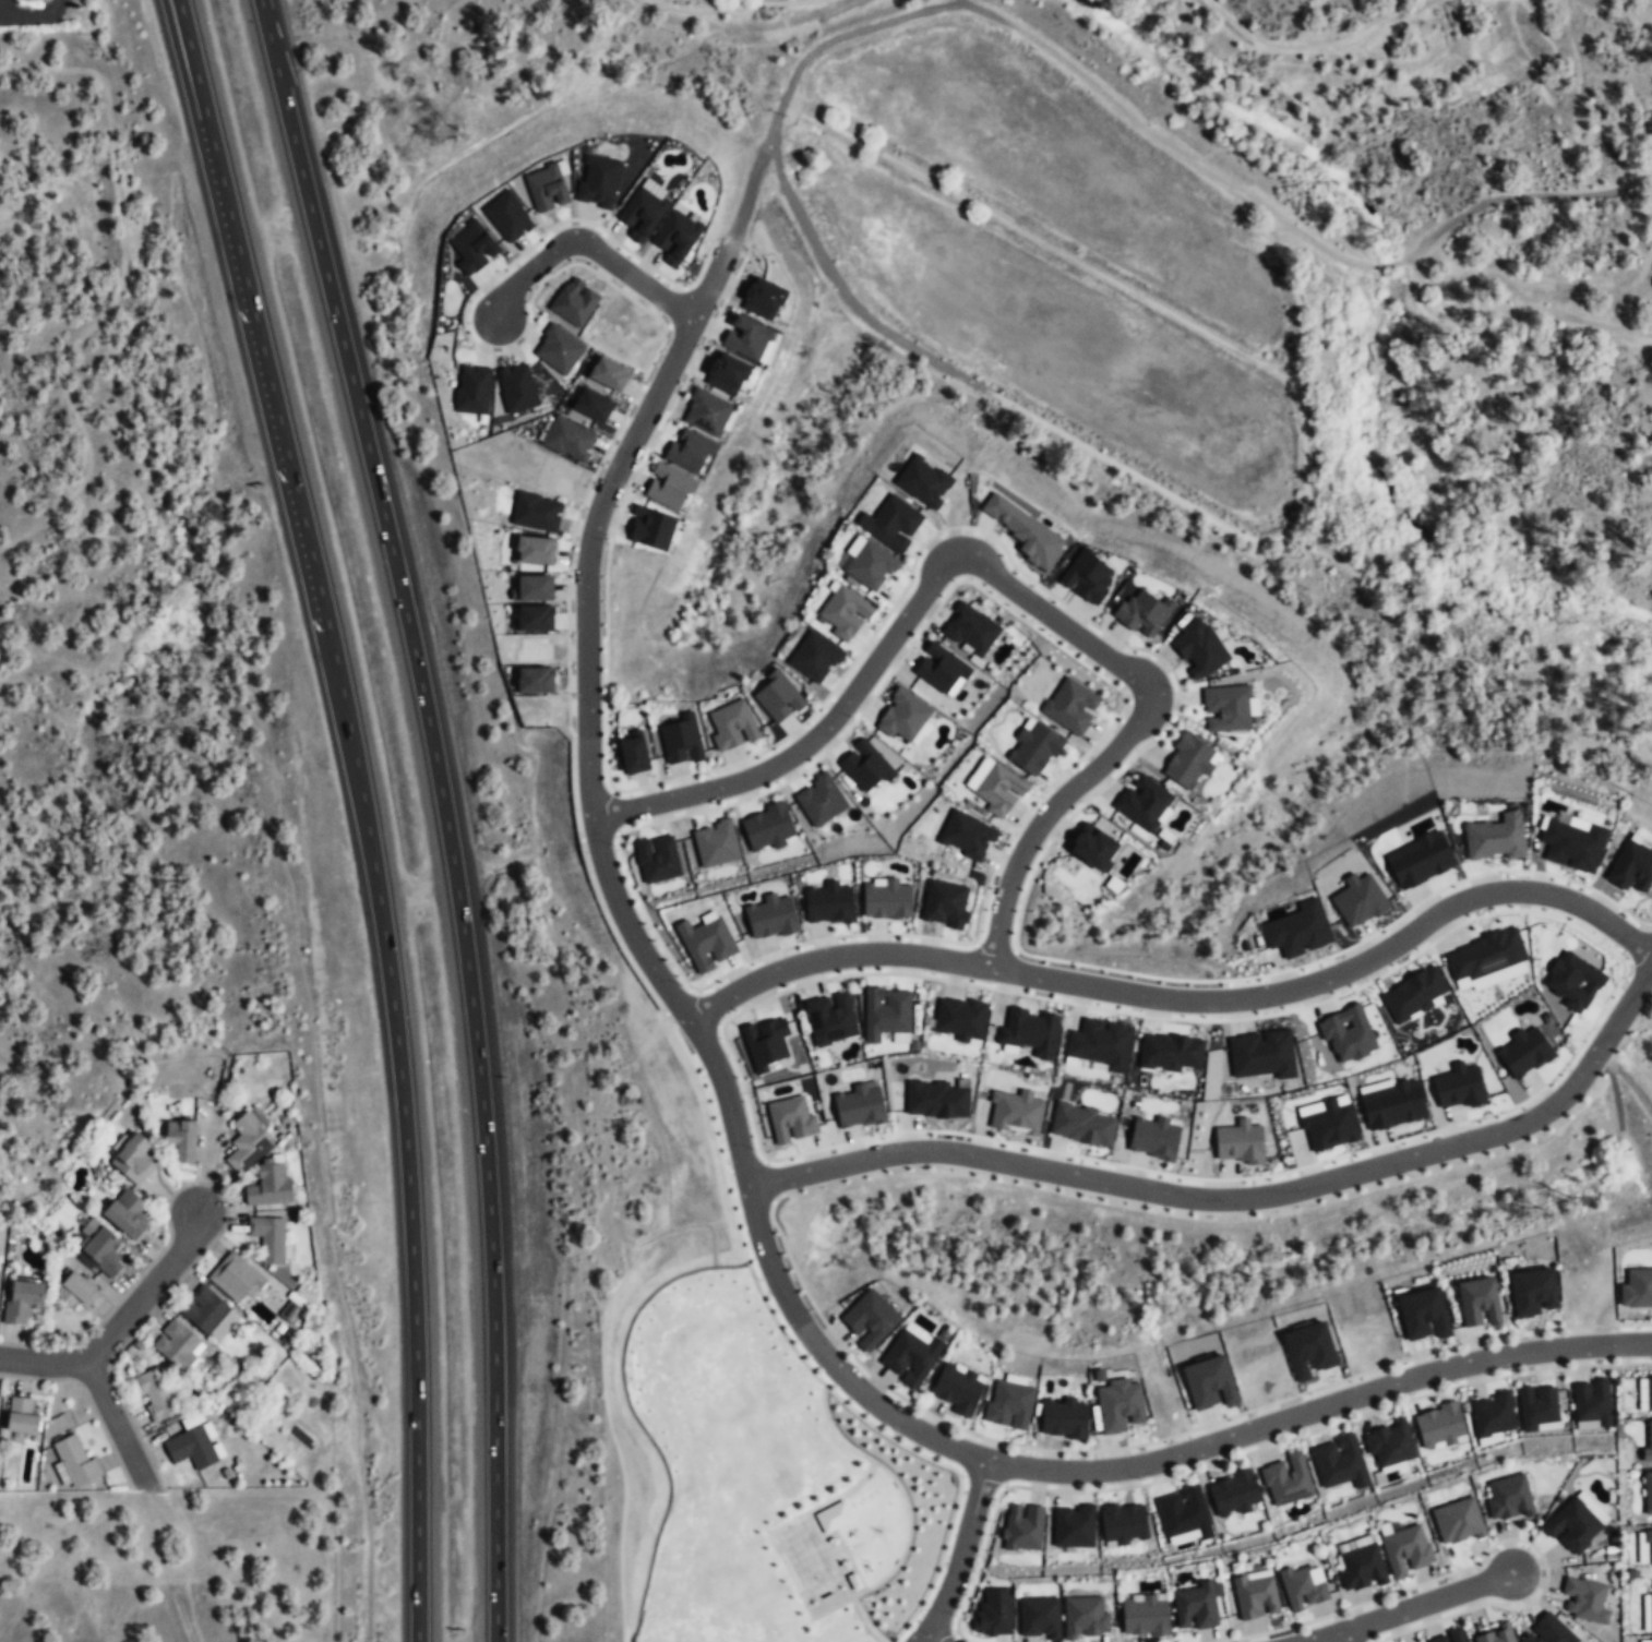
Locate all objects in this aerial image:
road: (1, 8)
road: (34, 13)
road: (1, 15)
road: (1174, 149)
building: (597, 179)
road: (781, 181)
building: (544, 188)
road: (749, 192)
road: (1520, 195)
building: (643, 209)
building: (507, 216)
building: (675, 237)
building: (471, 248)
road: (658, 296)
building: (574, 301)
road: (1510, 312)
building: (746, 338)
building: (558, 350)
building: (606, 373)
building: (726, 374)
building: (516, 388)
building: (472, 389)
building: (590, 405)
building: (706, 412)
building: (567, 439)
building: (689, 451)
building: (922, 482)
building: (669, 487)
building: (536, 512)
building: (891, 523)
road: (1292, 525)
building: (650, 529)
building: (1025, 532)
building: (854, 546)
building: (534, 551)
building: (871, 565)
road: (993, 574)
building: (1085, 575)
building: (531, 589)
building: (842, 613)
building: (1142, 613)
building: (532, 619)
building: (971, 628)
building: (1199, 649)
building: (815, 658)
building: (939, 668)
building: (531, 681)
building: (777, 700)
building: (1070, 706)
building: (1228, 709)
building: (903, 717)
building: (732, 726)
building: (681, 741)
building: (1034, 748)
building: (633, 755)
building: (1188, 762)
building: (865, 766)
building: (995, 787)
building: (819, 802)
building: (1145, 802)
road: (364, 811)
road: (444, 812)
building: (767, 828)
building: (967, 835)
building: (1496, 838)
building: (715, 844)
building: (1572, 844)
building: (1092, 848)
building: (657, 859)
building: (1418, 861)
building: (1632, 866)
building: (886, 900)
building: (1358, 900)
building: (828, 903)
building: (945, 904)
building: (770, 918)
building: (1296, 931)
building: (706, 943)
building: (1488, 959)
building: (1573, 981)
building: (1413, 994)
road: (1182, 1002)
building: (885, 1012)
building: (830, 1019)
building: (960, 1019)
building: (1029, 1032)
building: (1346, 1033)
building: (764, 1043)
building: (1100, 1043)
building: (1170, 1052)
building: (1524, 1052)
building: (1261, 1054)
building: (1458, 1086)
building: (935, 1099)
building: (1391, 1103)
building: (858, 1106)
building: (1015, 1112)
building: (790, 1119)
building: (1328, 1123)
building: (1081, 1124)
building: (1153, 1137)
building: (182, 1138)
building: (248, 1140)
building: (1240, 1141)
building: (135, 1158)
building: (268, 1184)
road: (1240, 1199)
building: (127, 1212)
road: (754, 1214)
building: (267, 1237)
building: (105, 1249)
building: (235, 1277)
building: (76, 1290)
building: (1637, 1290)
building: (1533, 1294)
building: (22, 1301)
building: (1476, 1304)
building: (203, 1308)
building: (290, 1311)
building: (1422, 1316)
road: (123, 1319)
building: (870, 1320)
building: (176, 1343)
building: (1308, 1350)
building: (910, 1357)
building: (1209, 1382)
building: (958, 1390)
building: (1644, 1393)
building: (155, 1394)
building: (1590, 1402)
building: (1008, 1406)
building: (1537, 1406)
building: (1118, 1407)
building: (23, 1415)
building: (1493, 1416)
road: (115, 1419)
building: (1064, 1419)
building: (1440, 1427)
building: (1648, 1441)
building: (1389, 1445)
building: (190, 1447)
road: (923, 1455)
building: (76, 1461)
building: (1339, 1462)
building: (1286, 1481)
building: (1233, 1494)
building: (1648, 1494)
building: (1508, 1498)
road: (909, 1513)
building: (1183, 1514)
road: (813, 1517)
building: (834, 1517)
building: (1458, 1522)
building: (1124, 1524)
building: (1573, 1525)
building: (1022, 1526)
building: (1073, 1526)
park: (849, 1534)
building: (1355, 1543)
building: (1645, 1548)
building: (1408, 1551)
park: (805, 1554)
road: (961, 1554)
road: (1482, 1556)
road: (937, 1565)
building: (1361, 1568)
building: (854, 1581)
building: (1304, 1587)
building: (1256, 1595)
building: (1584, 1599)
road: (190, 1602)
building: (1196, 1606)
road: (1408, 1608)
building: (1648, 1610)
building: (994, 1614)
building: (1145, 1617)
building: (1038, 1619)
building: (1085, 1619)
building: (1548, 1631)
building: (1495, 1634)
road: (1340, 1637)
building: (1449, 1638)
road: (926, 1640)
building: (1645, 1640)

